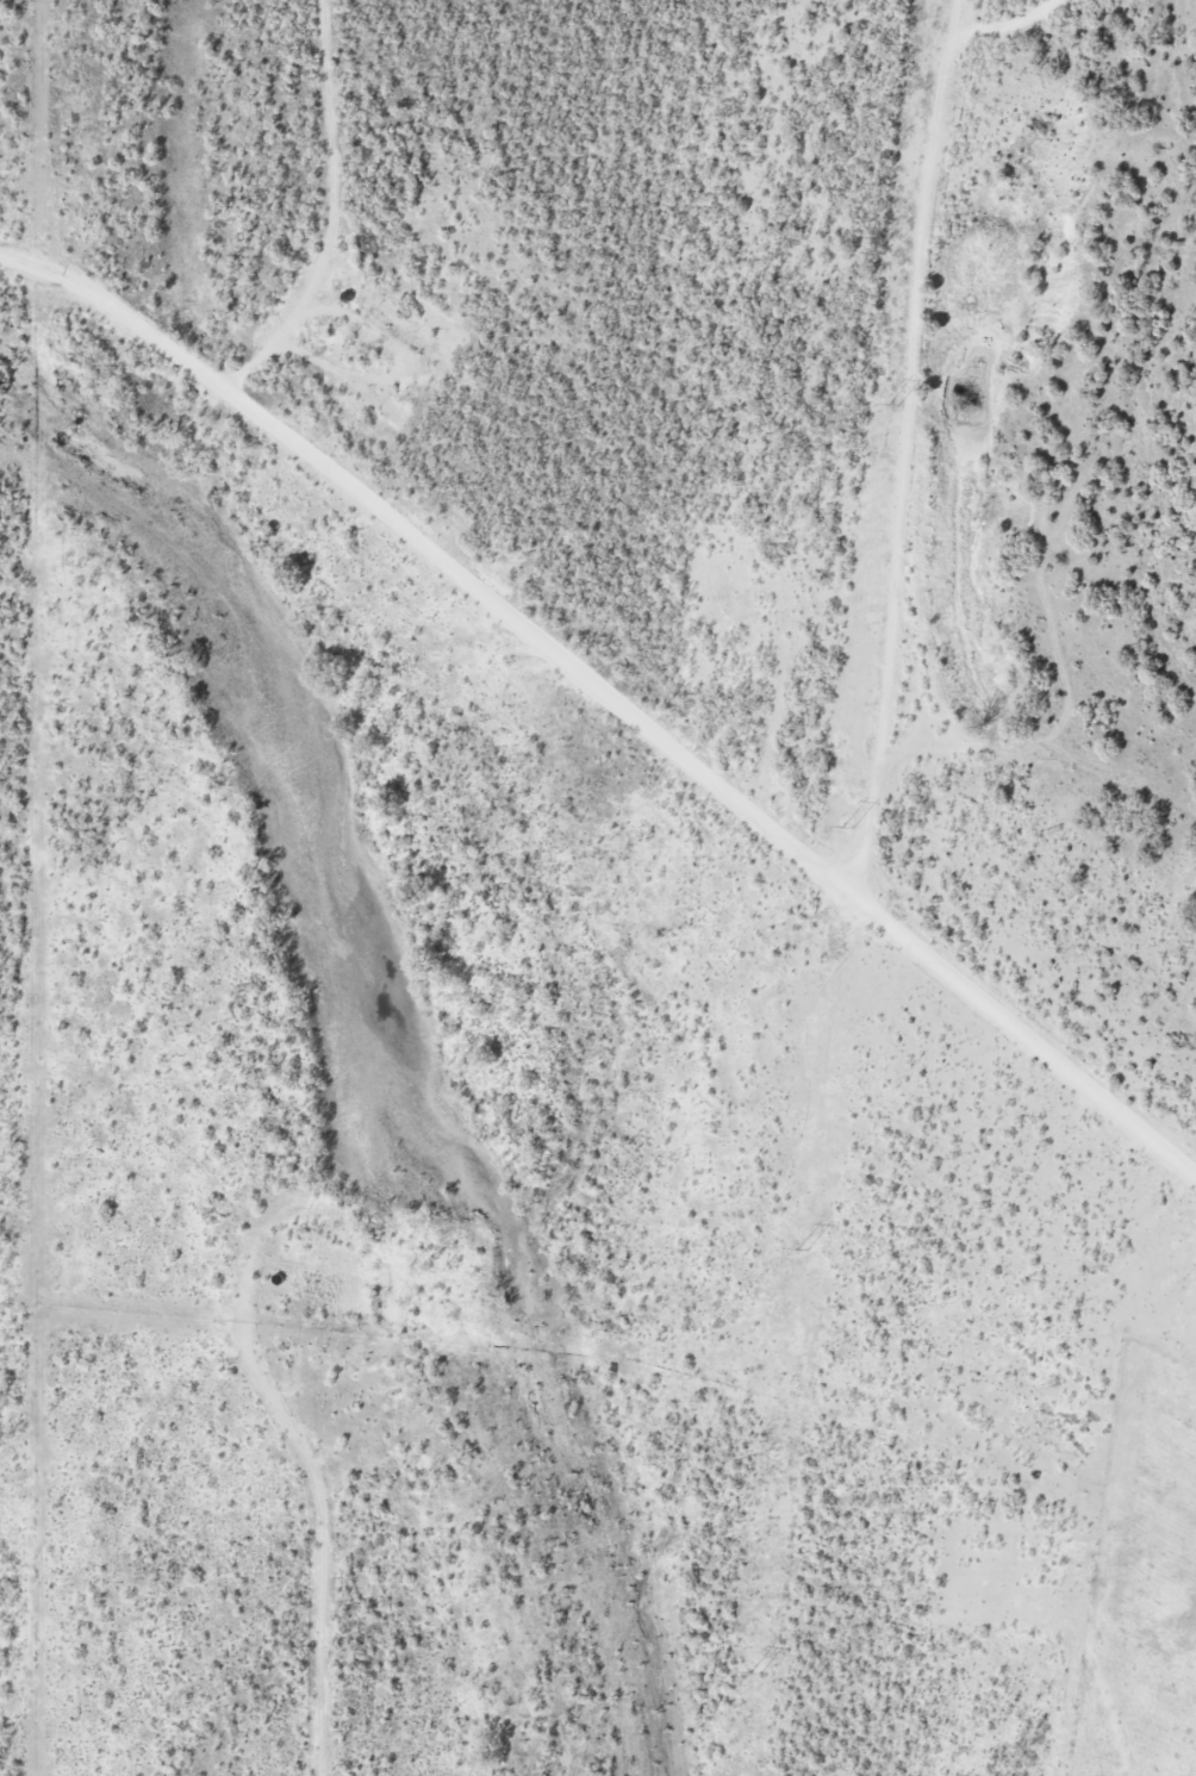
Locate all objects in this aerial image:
power tower: (897, 405)
road: (610, 685)
power tower: (854, 827)
river: (384, 1034)
power tower: (804, 1248)
power tower: (756, 1671)
road: (1101, 1683)

